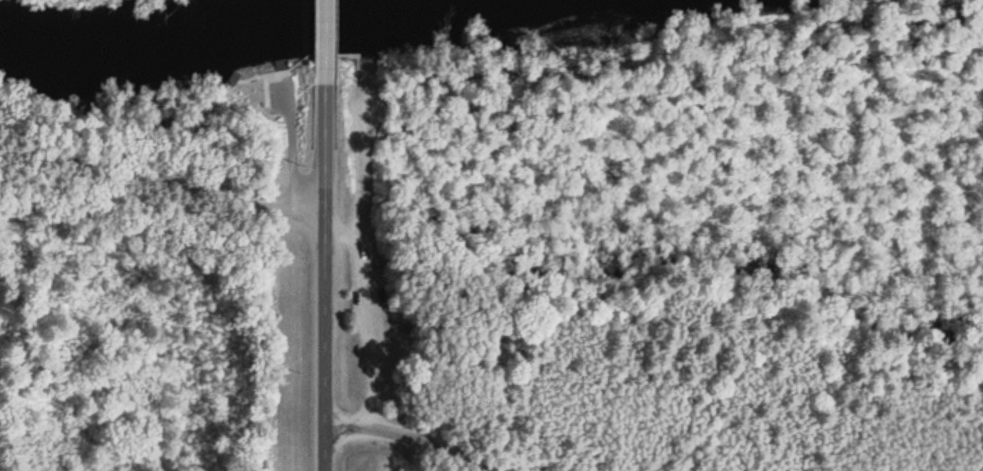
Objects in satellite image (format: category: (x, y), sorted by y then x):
river: (276, 31)
road: (323, 33)
building: (270, 80)
road: (291, 147)
road: (163, 168)
road: (323, 269)
road: (398, 434)

